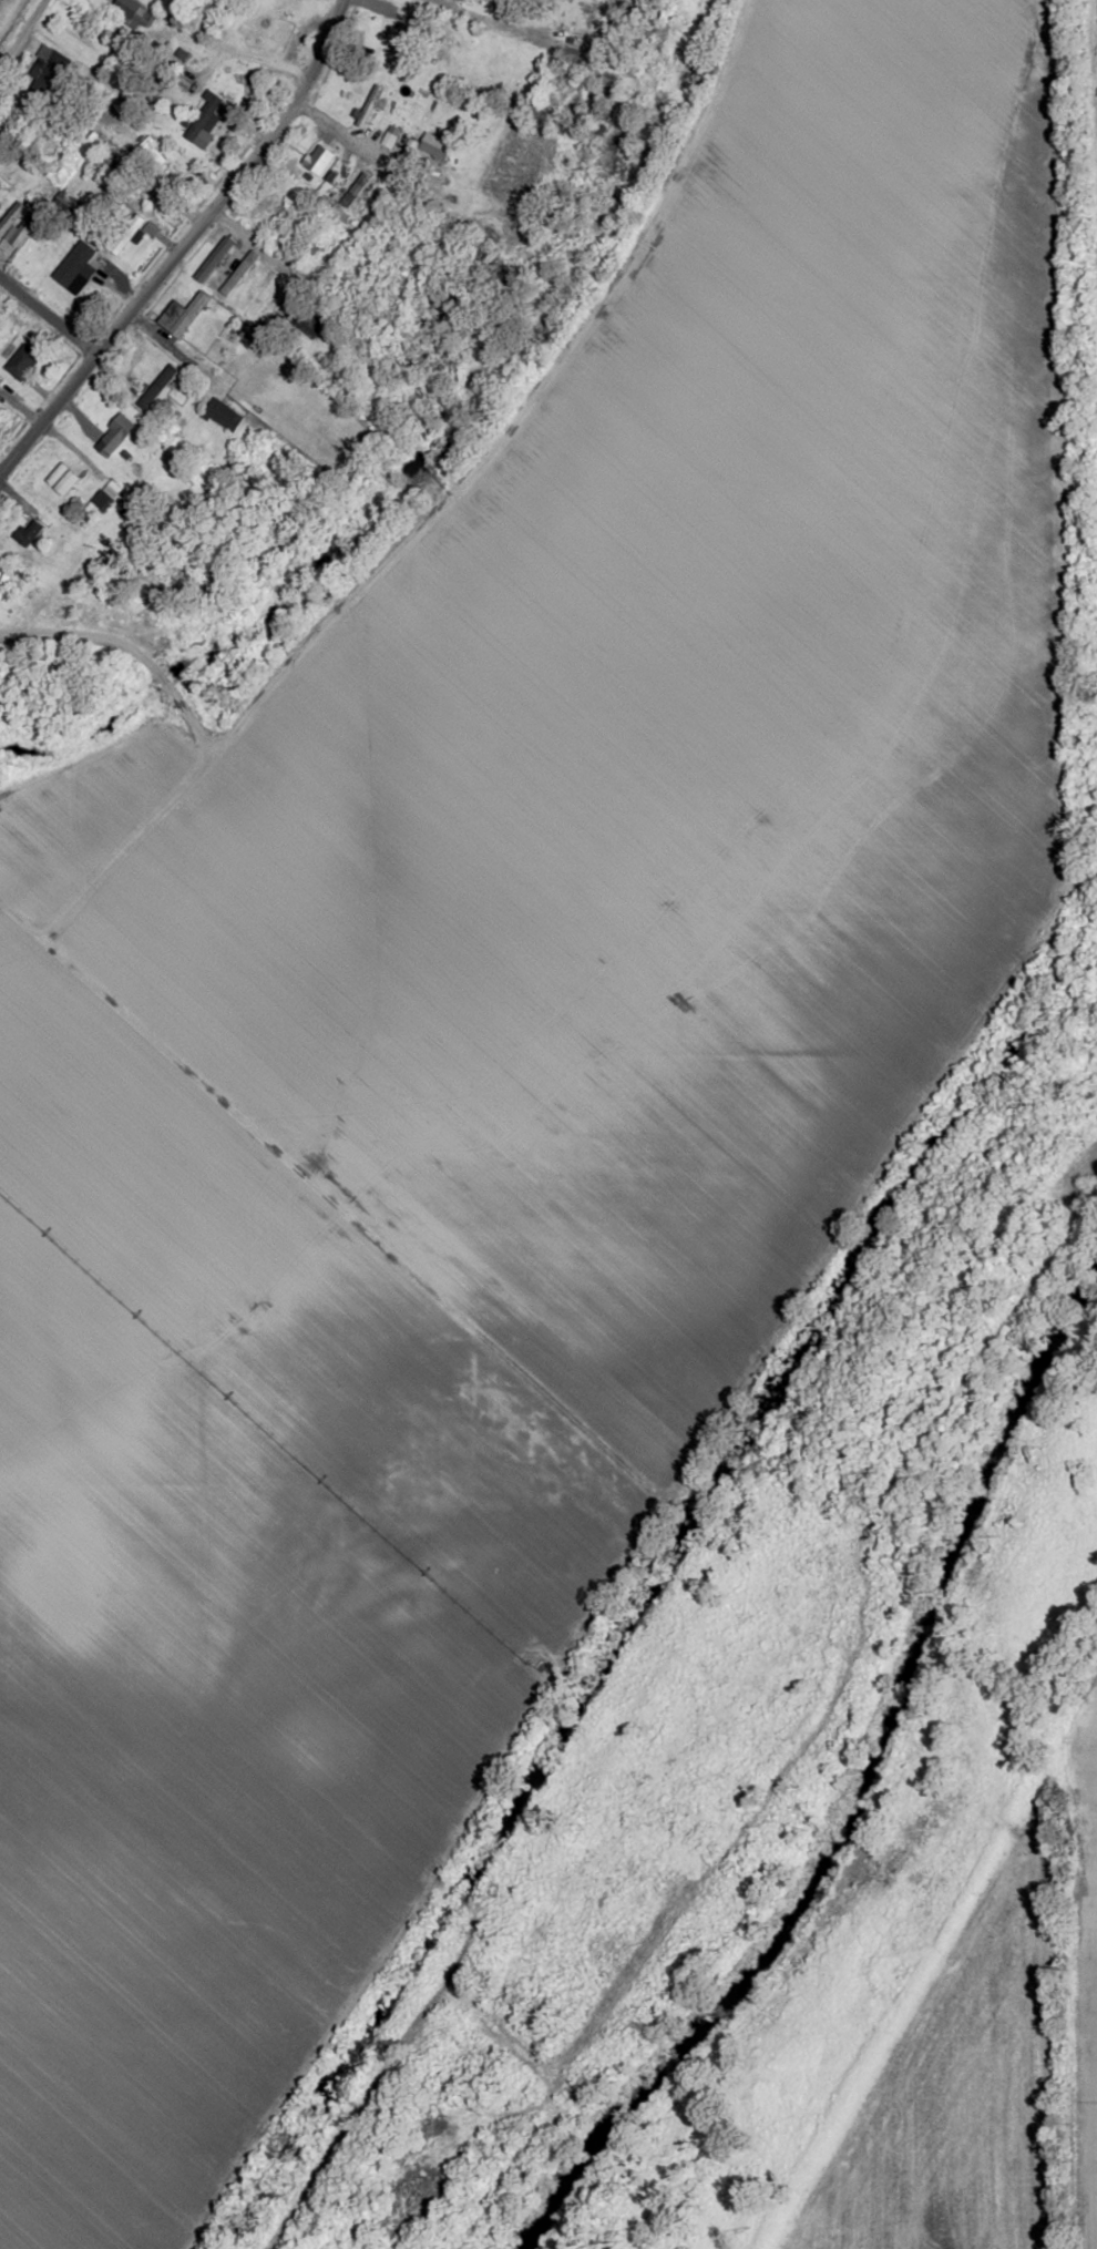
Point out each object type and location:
building: (131, 12)
building: (273, 24)
building: (408, 40)
road: (233, 57)
building: (43, 73)
building: (377, 95)
building: (205, 117)
road: (339, 133)
building: (437, 146)
building: (142, 155)
building: (319, 160)
building: (10, 219)
building: (132, 225)
road: (181, 244)
building: (215, 260)
road: (269, 267)
building: (235, 278)
building: (80, 294)
building: (183, 315)
road: (47, 318)
building: (309, 324)
building: (23, 362)
building: (0, 412)
building: (225, 415)
building: (119, 432)
building: (30, 533)
road: (134, 652)

